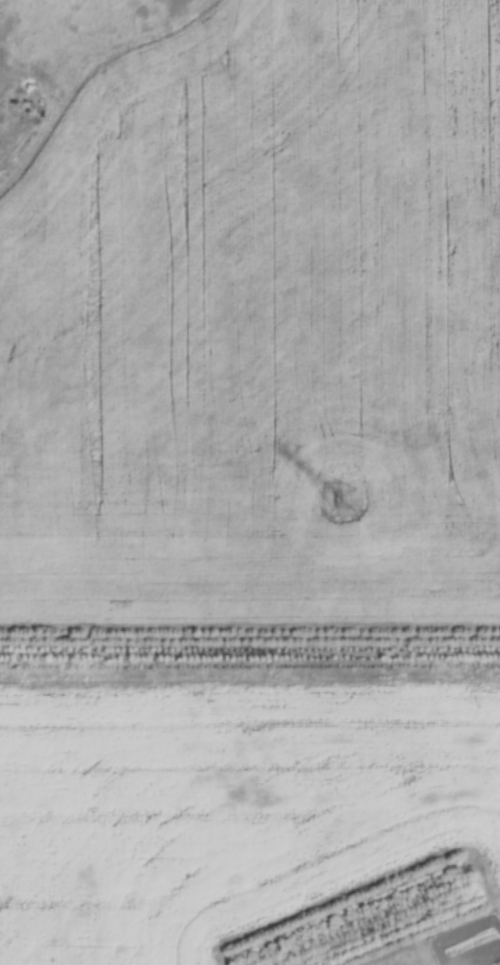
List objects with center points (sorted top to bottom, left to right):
power tower: (343, 500)

